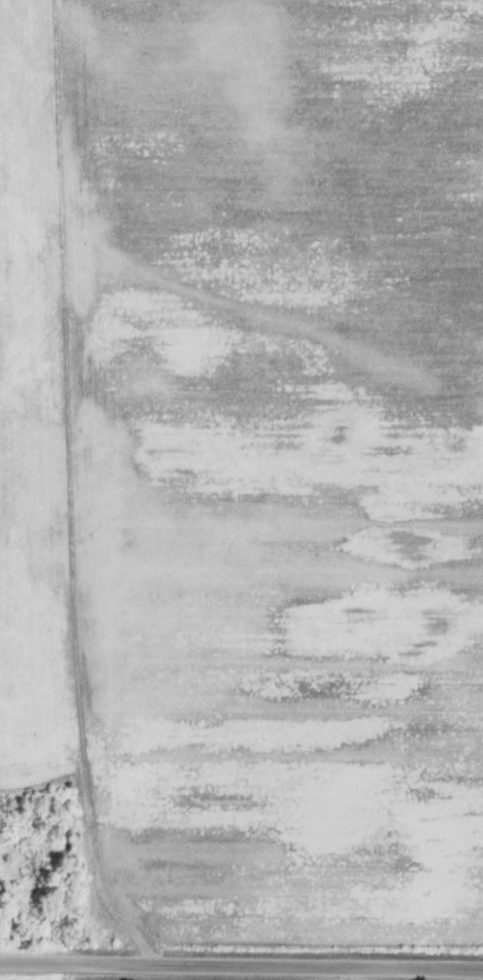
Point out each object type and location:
road: (66, 488)
road: (241, 966)
road: (350, 974)

